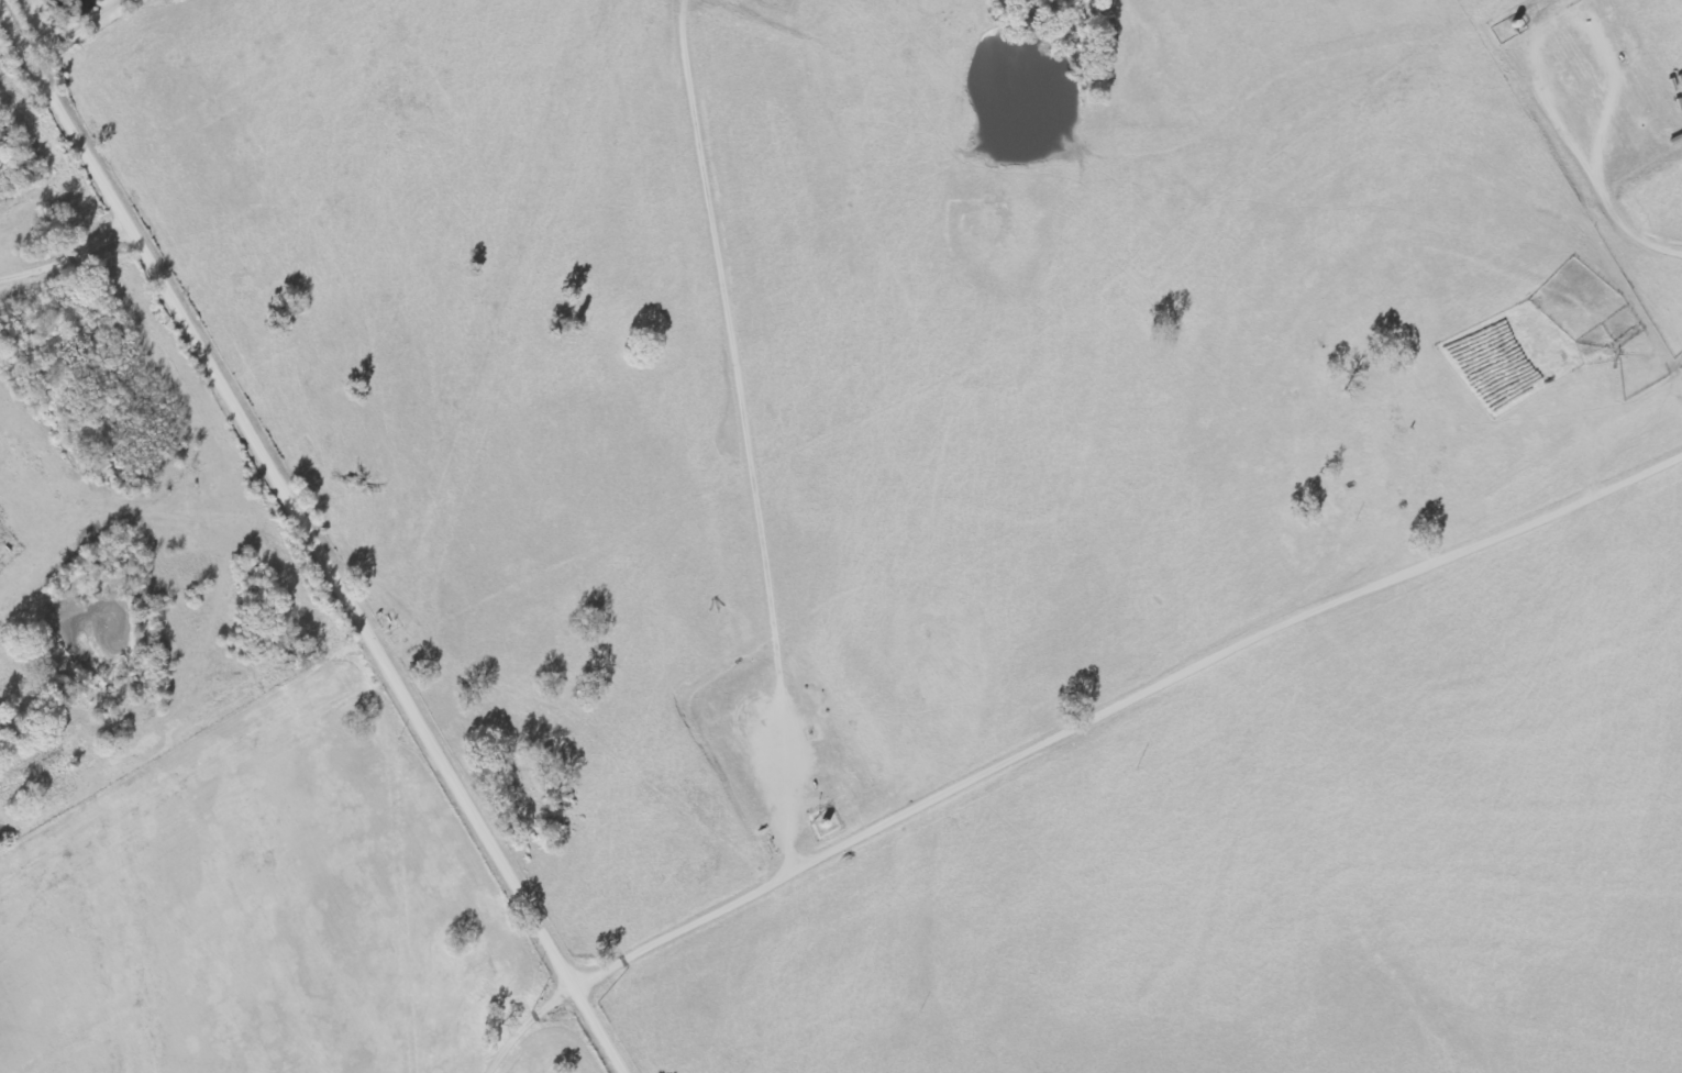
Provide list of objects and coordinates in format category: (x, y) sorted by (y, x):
road: (71, 31)
road: (313, 543)

